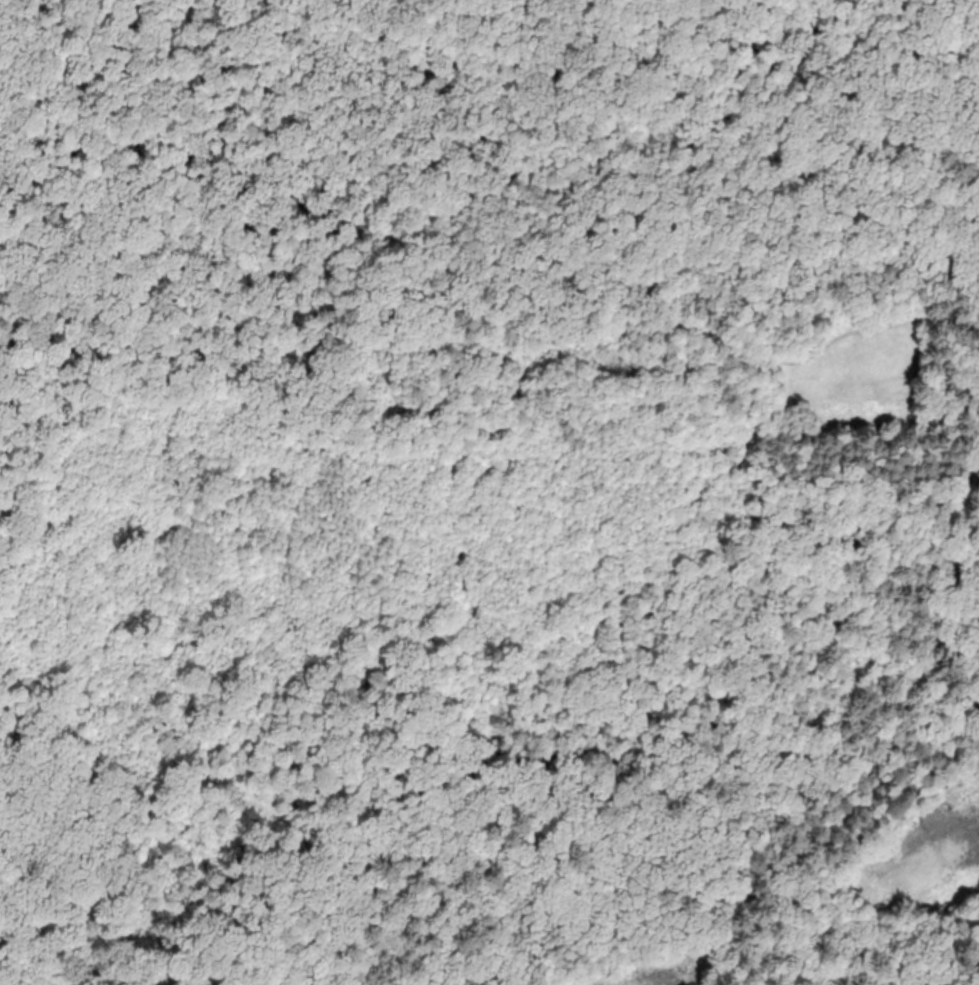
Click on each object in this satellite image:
park: (462, 616)

